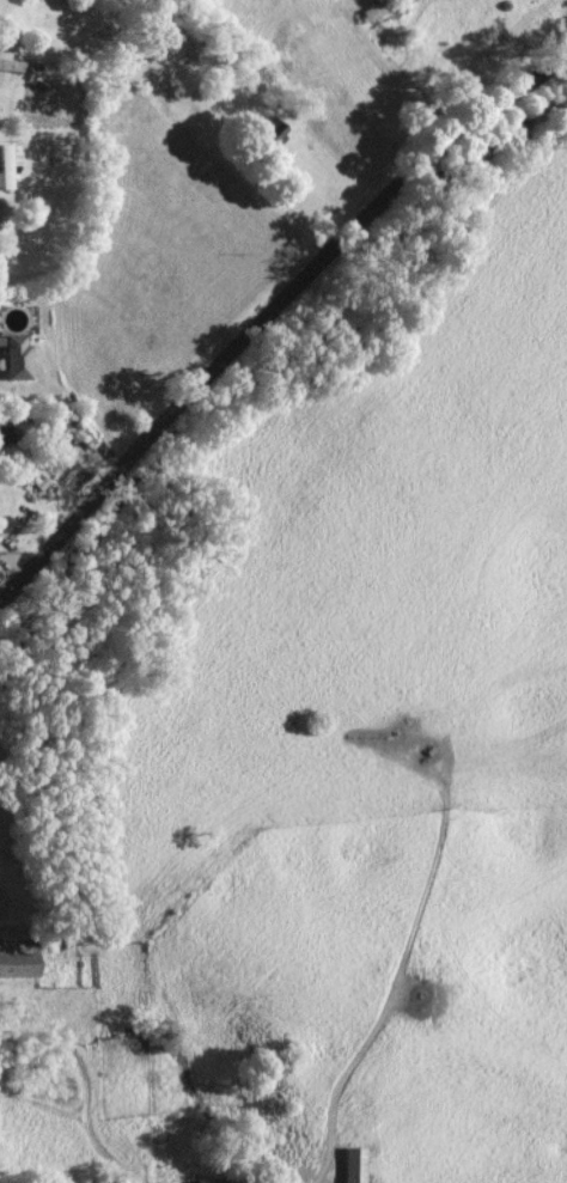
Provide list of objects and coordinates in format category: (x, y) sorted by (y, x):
building: (377, 7)
building: (255, 130)
building: (6, 167)
road: (279, 309)
building: (11, 356)
building: (13, 429)
building: (12, 525)
park: (5, 888)
building: (14, 958)
building: (354, 1165)
building: (221, 1182)

